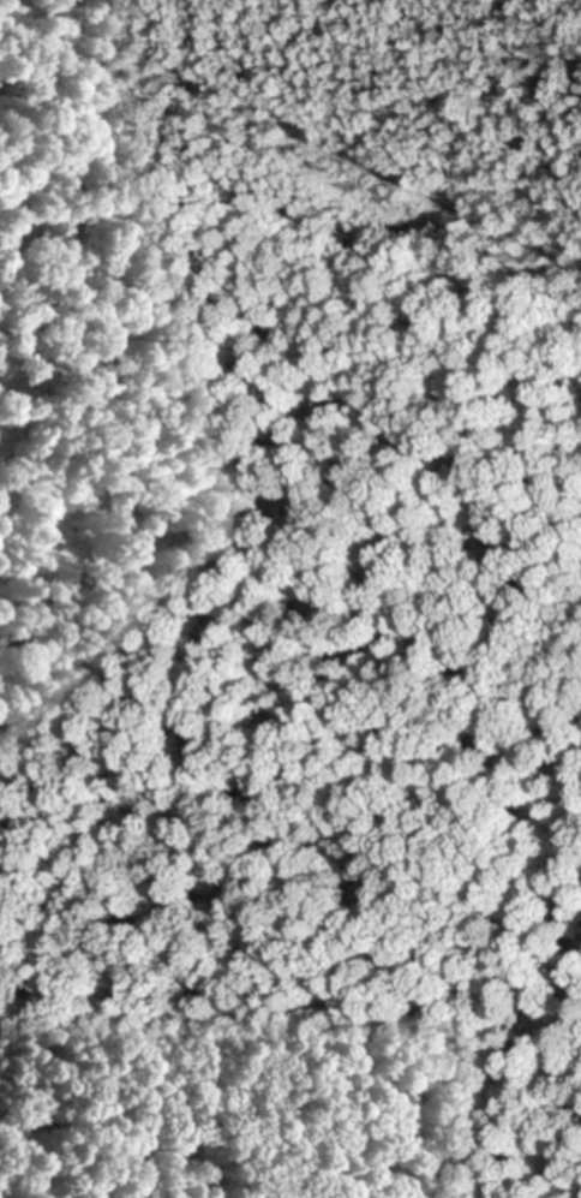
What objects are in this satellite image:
road: (299, 131)

